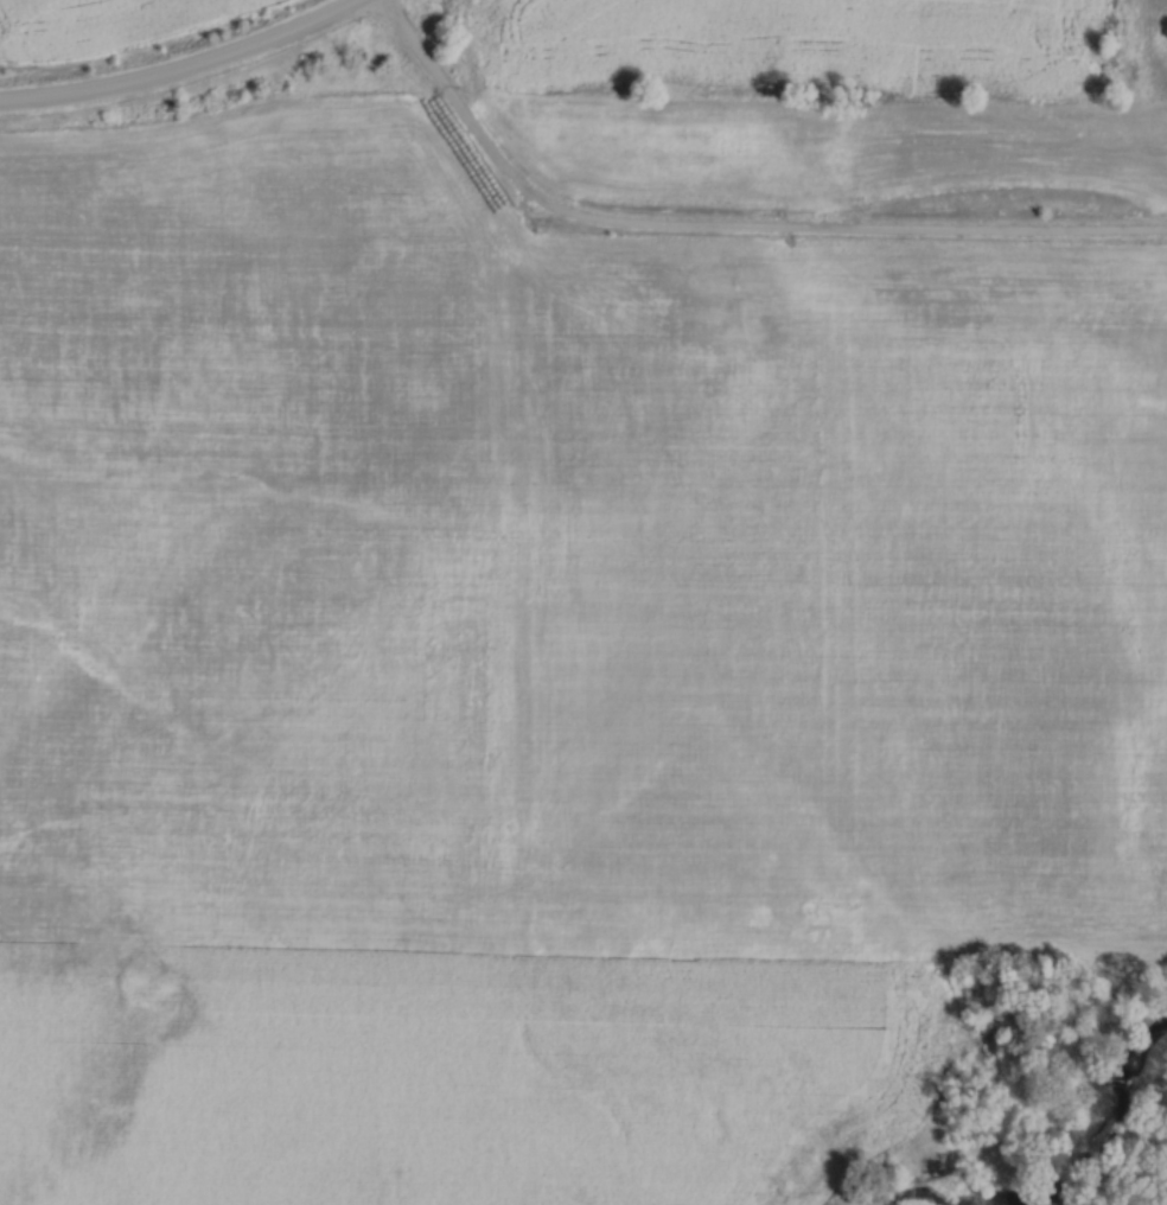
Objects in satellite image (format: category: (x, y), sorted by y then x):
road: (185, 69)
road: (720, 225)

